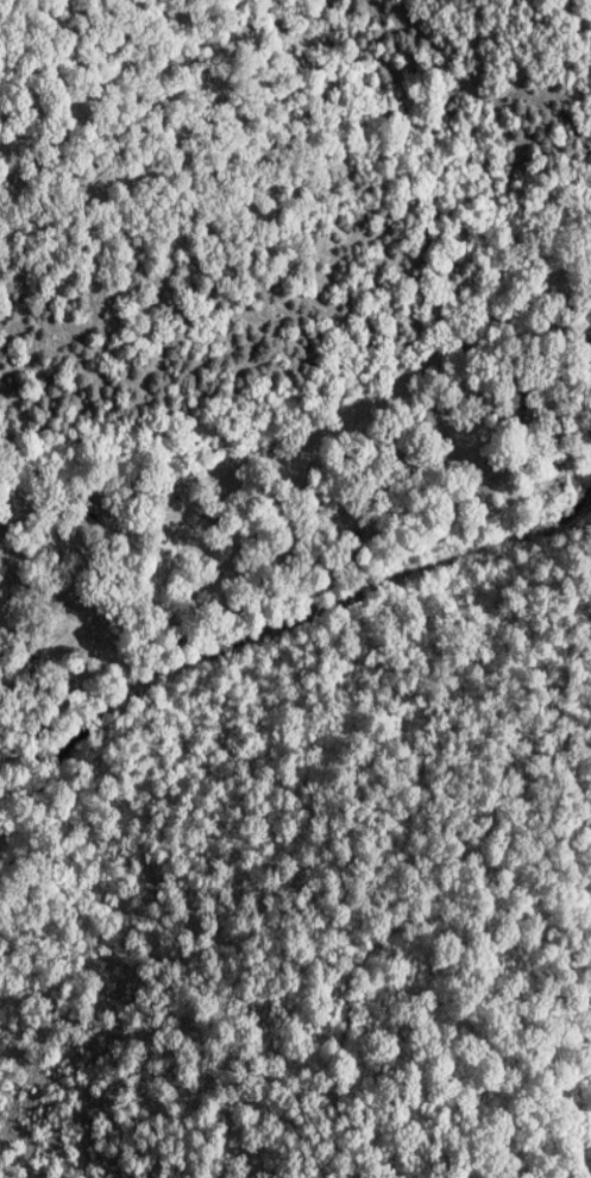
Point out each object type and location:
road: (303, 442)
road: (365, 499)
road: (77, 622)

